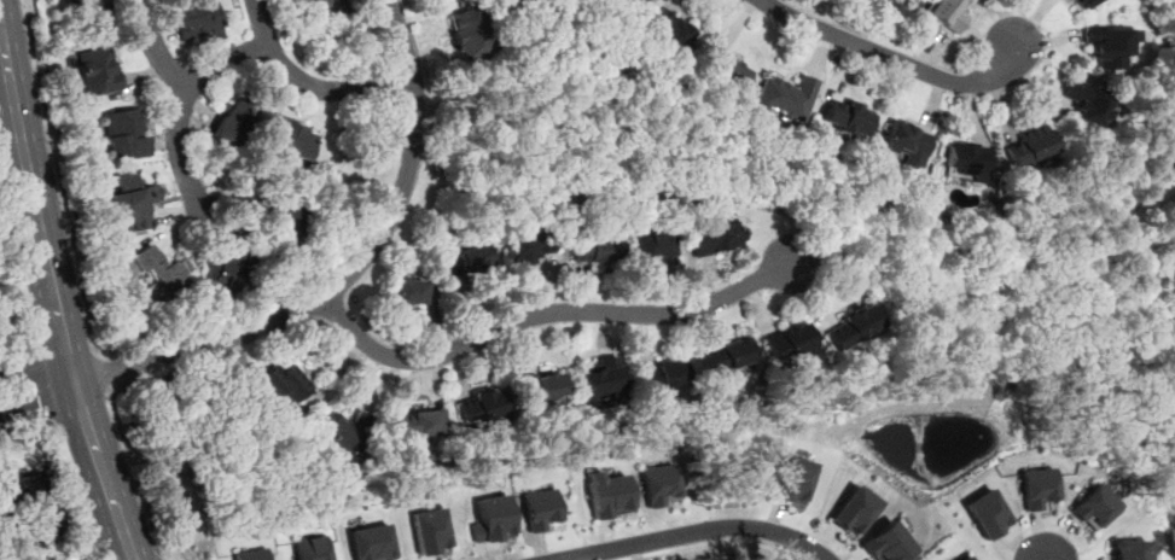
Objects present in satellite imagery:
building: (847, 1)
building: (632, 2)
building: (1080, 4)
building: (310, 5)
building: (95, 7)
building: (944, 12)
building: (196, 21)
road: (258, 23)
building: (668, 28)
building: (469, 31)
building: (1109, 43)
road: (162, 57)
road: (889, 58)
building: (723, 69)
building: (98, 71)
road: (330, 88)
building: (785, 95)
building: (1086, 103)
road: (179, 105)
building: (851, 121)
building: (231, 128)
building: (124, 133)
building: (291, 138)
building: (904, 141)
building: (1036, 148)
building: (972, 164)
road: (60, 177)
building: (133, 200)
road: (857, 208)
building: (279, 222)
building: (711, 237)
building: (650, 247)
building: (528, 249)
building: (593, 249)
building: (465, 262)
building: (229, 264)
building: (155, 270)
road: (347, 276)
road: (52, 287)
road: (18, 290)
building: (407, 292)
road: (553, 311)
building: (851, 327)
building: (789, 343)
building: (727, 356)
road: (36, 368)
road: (103, 373)
building: (659, 375)
building: (598, 380)
building: (277, 387)
building: (540, 387)
road: (40, 404)
building: (479, 408)
building: (417, 424)
building: (344, 431)
road: (136, 477)
building: (790, 479)
building: (658, 485)
building: (1034, 488)
building: (21, 490)
building: (606, 495)
building: (1092, 507)
building: (539, 508)
building: (851, 511)
building: (984, 513)
building: (491, 519)
building: (429, 531)
road: (694, 531)
road: (1020, 531)
building: (371, 543)
road: (720, 543)
building: (885, 543)
building: (310, 548)
building: (250, 554)

